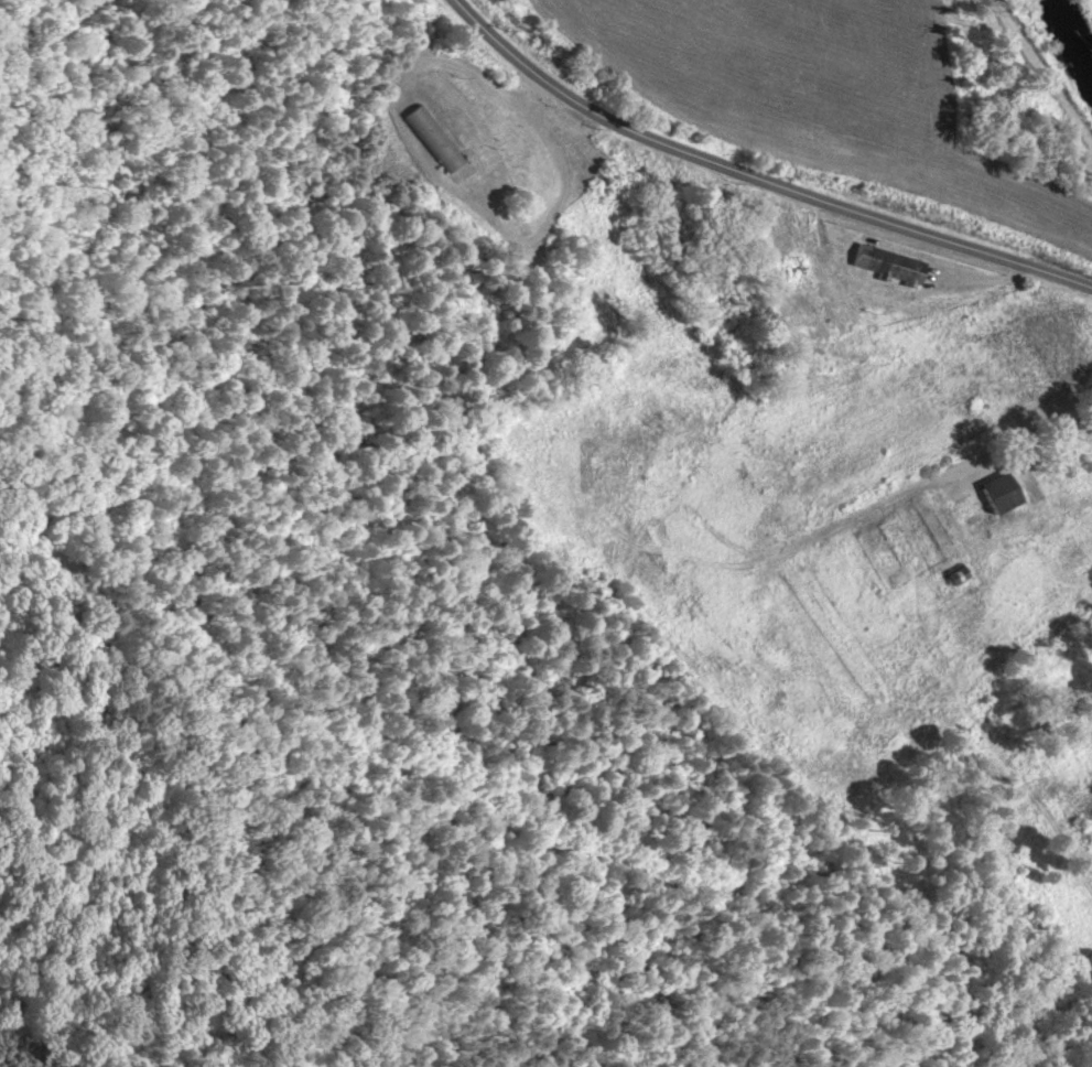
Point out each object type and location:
river: (1072, 26)
road: (1036, 78)
building: (433, 138)
road: (759, 175)
building: (886, 265)
building: (1001, 492)

